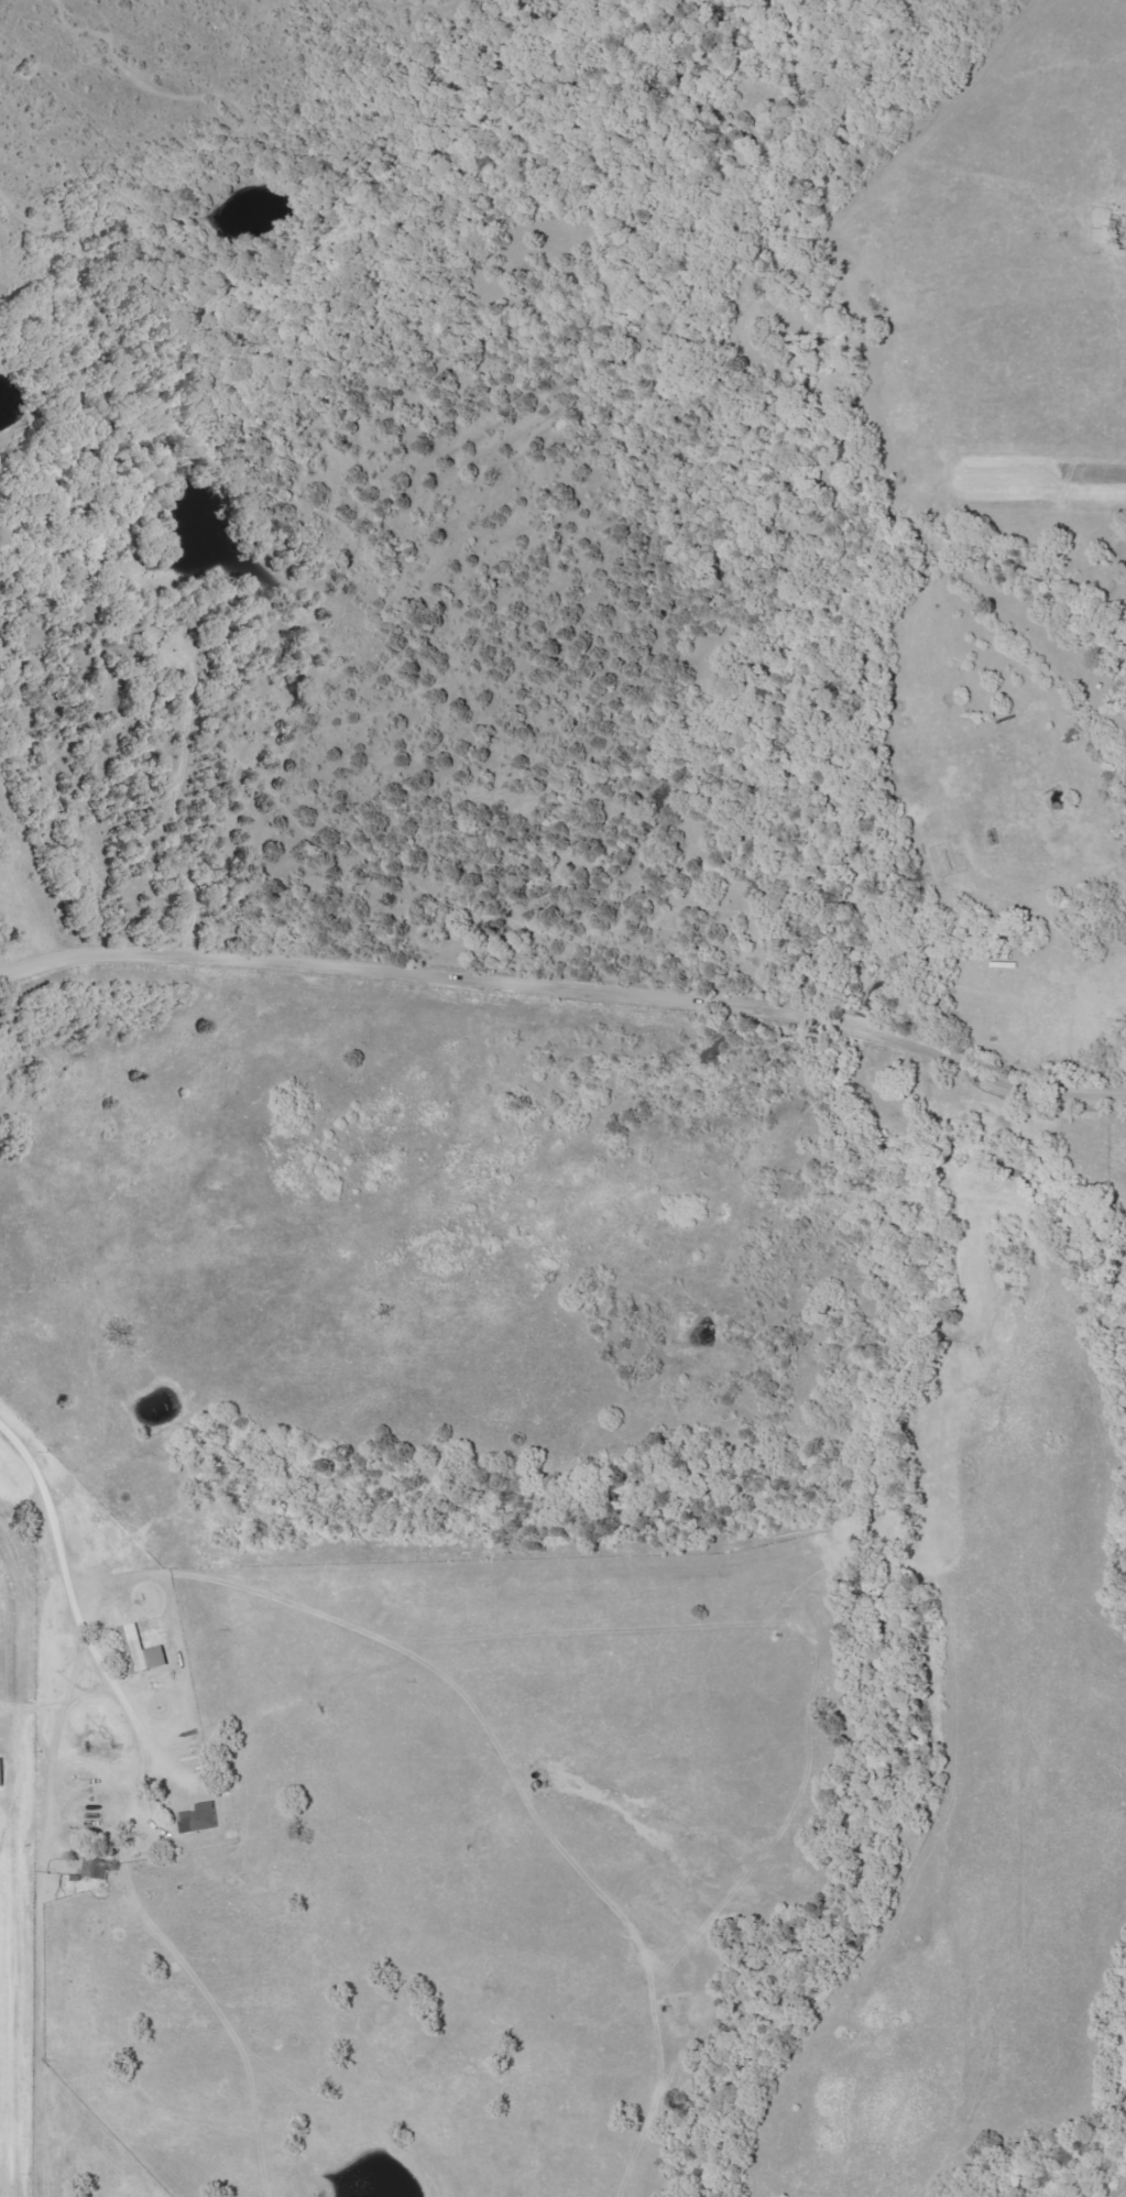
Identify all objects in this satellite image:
road: (567, 998)
road: (362, 1396)
building: (142, 1650)
building: (2, 1771)
building: (200, 1817)

